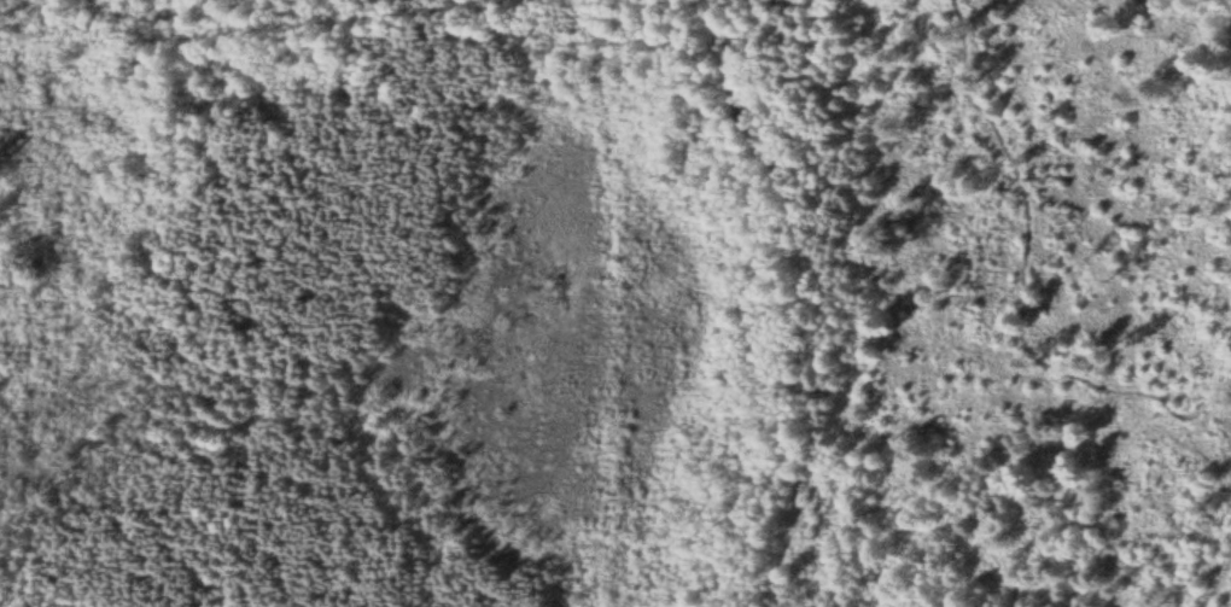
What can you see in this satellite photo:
road: (1022, 272)
road: (815, 274)
road: (1214, 568)

